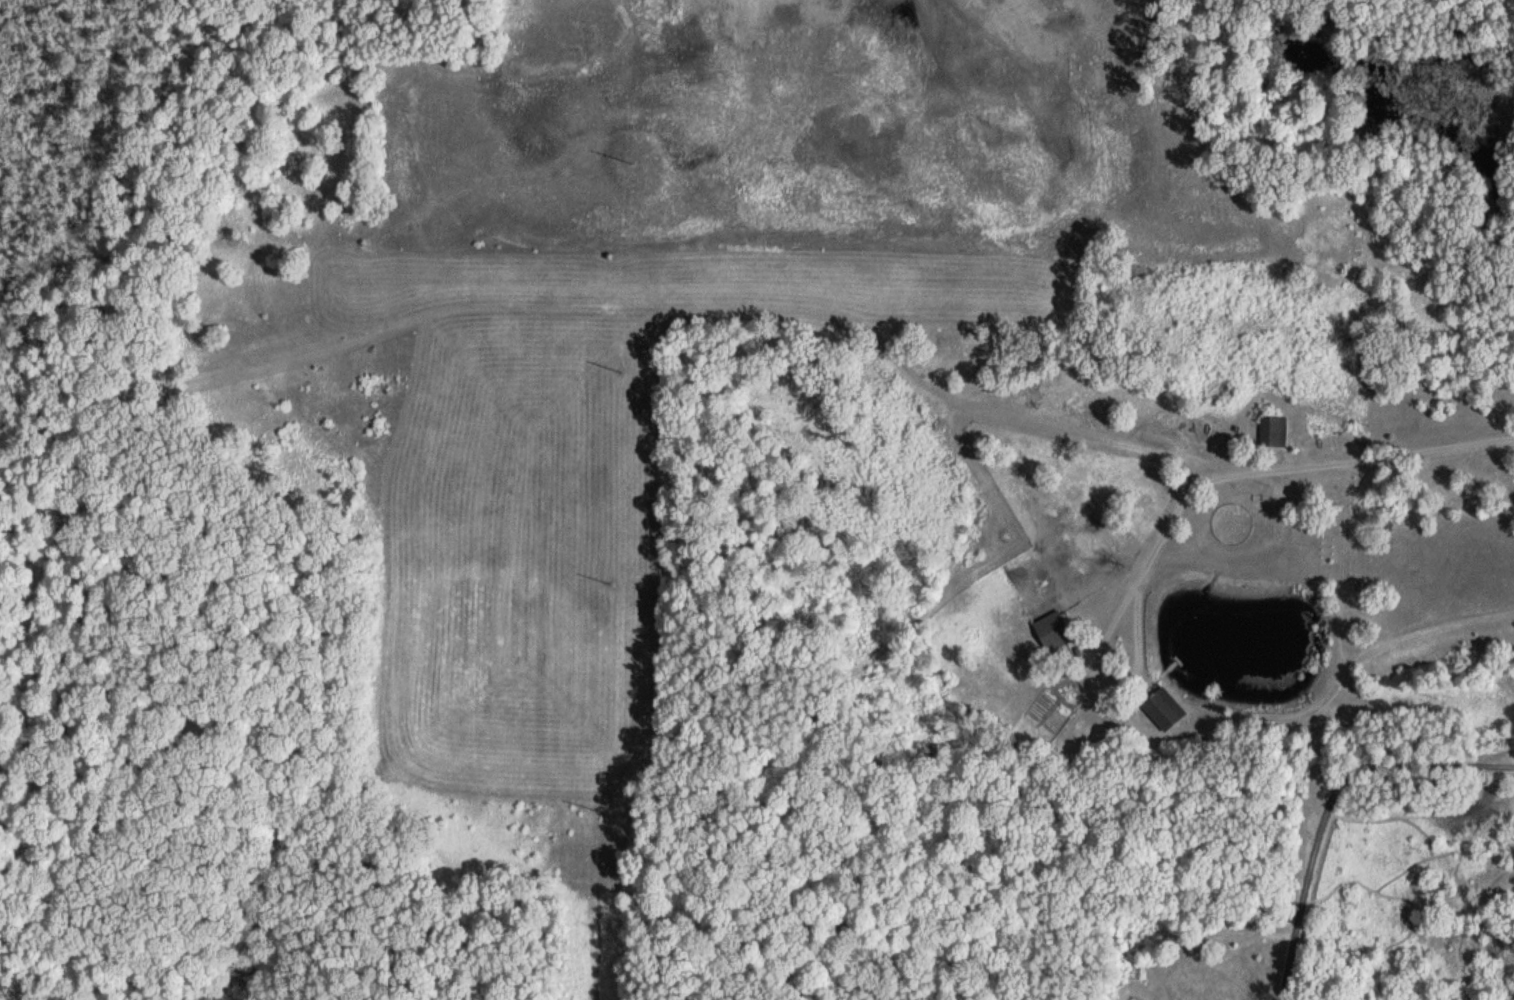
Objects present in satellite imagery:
building: (1270, 428)
building: (1051, 630)
road: (1098, 646)
building: (1161, 708)
road: (1326, 801)

